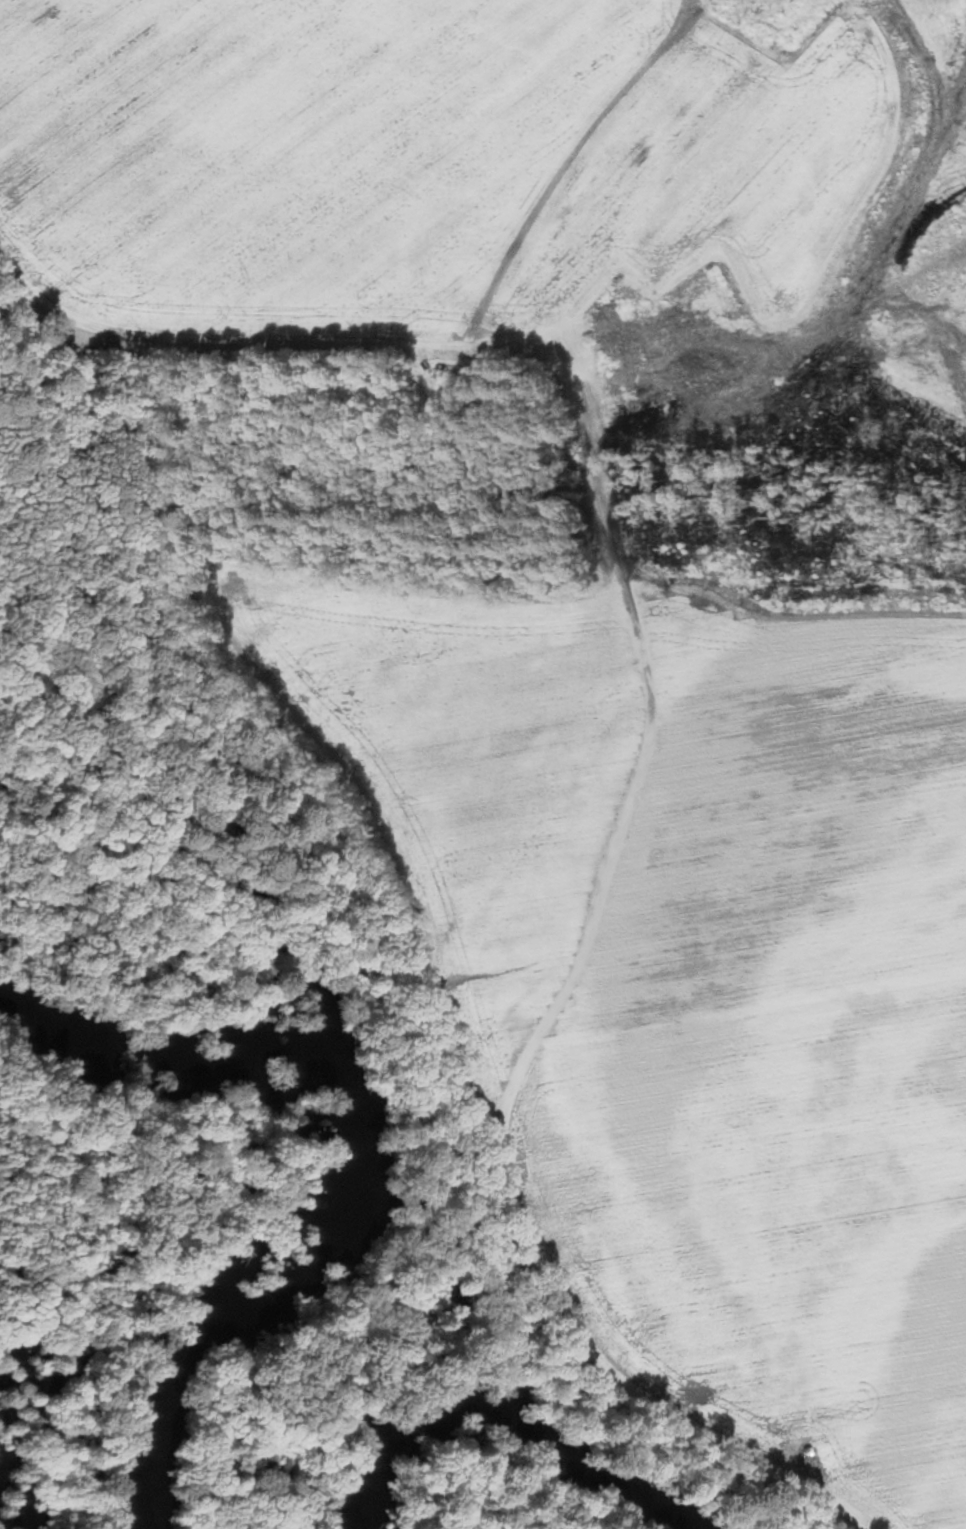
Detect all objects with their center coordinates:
road: (640, 748)
river: (332, 1180)
river: (493, 1425)

